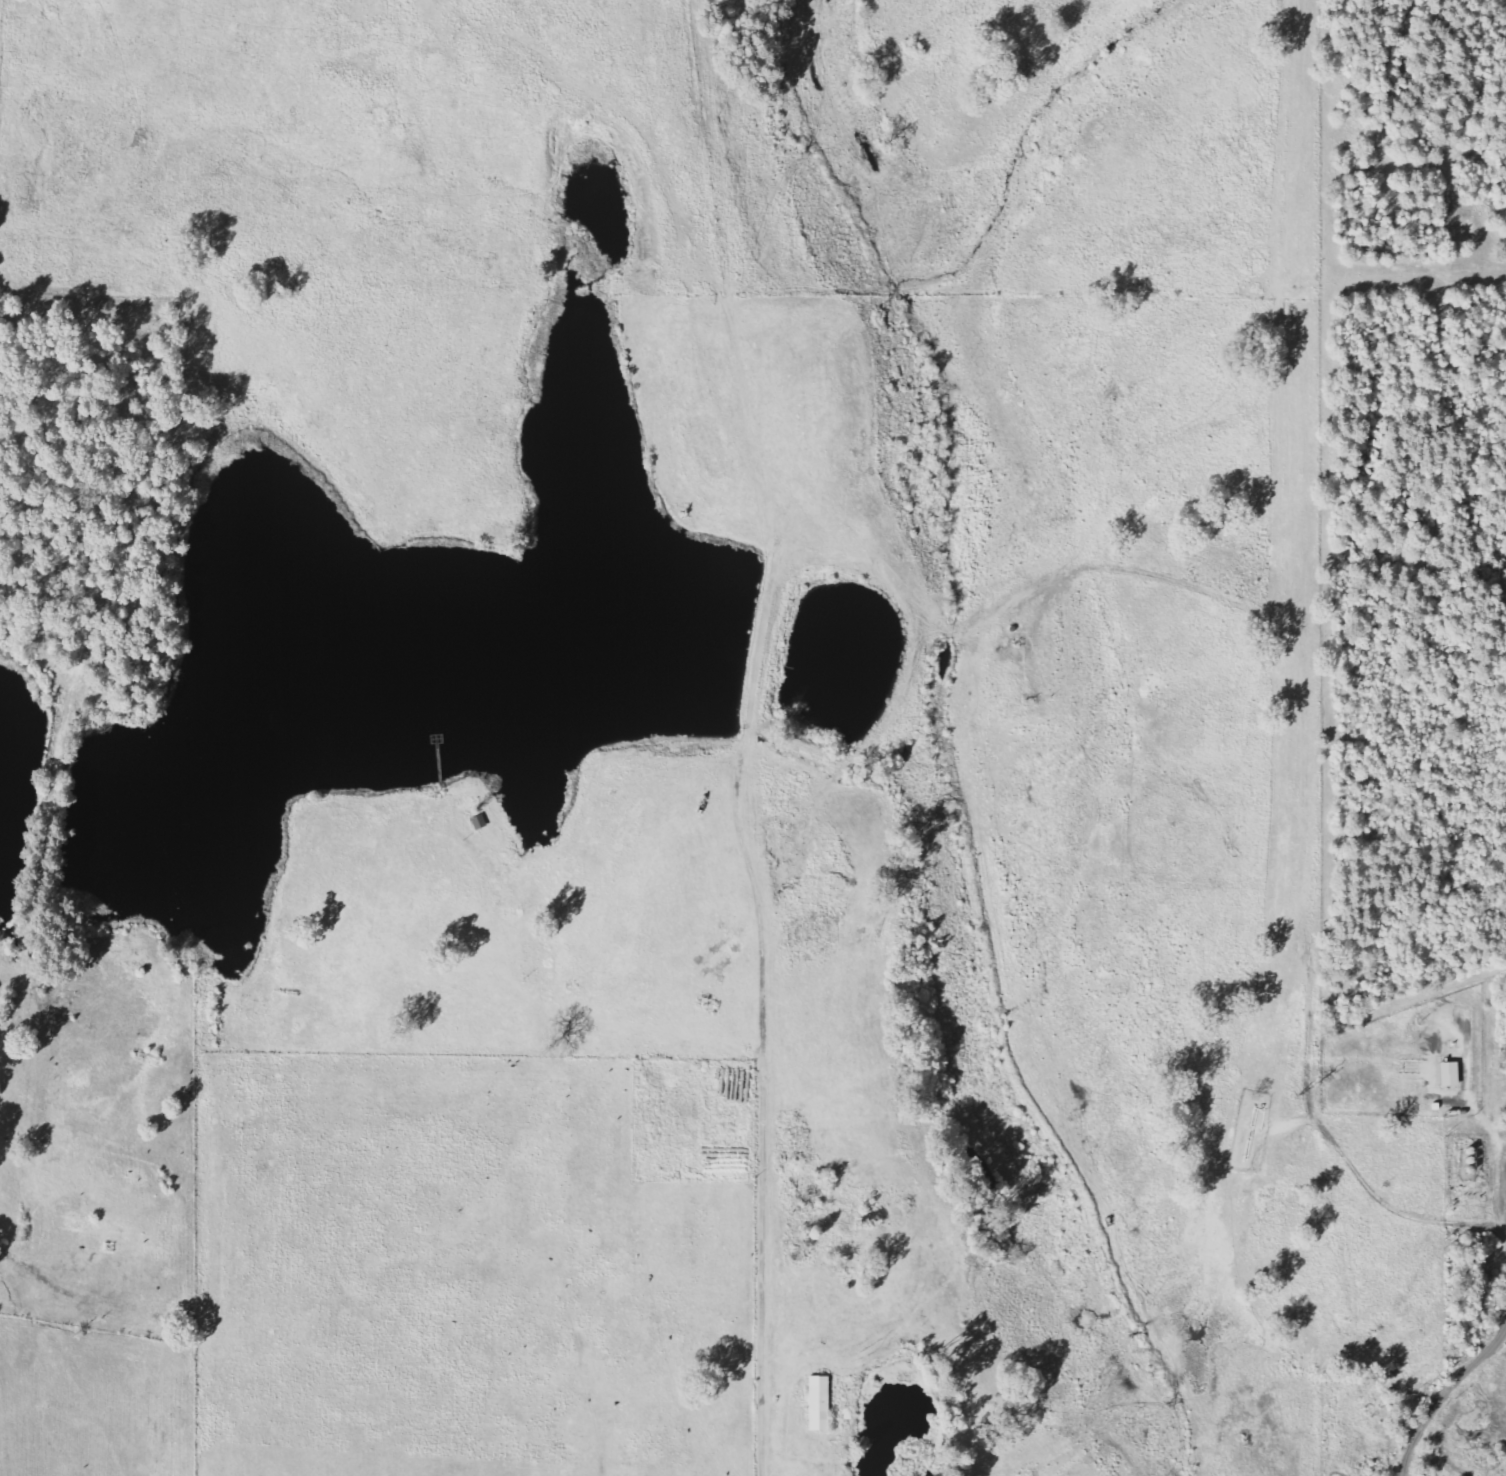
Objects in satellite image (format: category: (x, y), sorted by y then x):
dam: (44, 820)
building: (1452, 1073)
building: (821, 1403)

